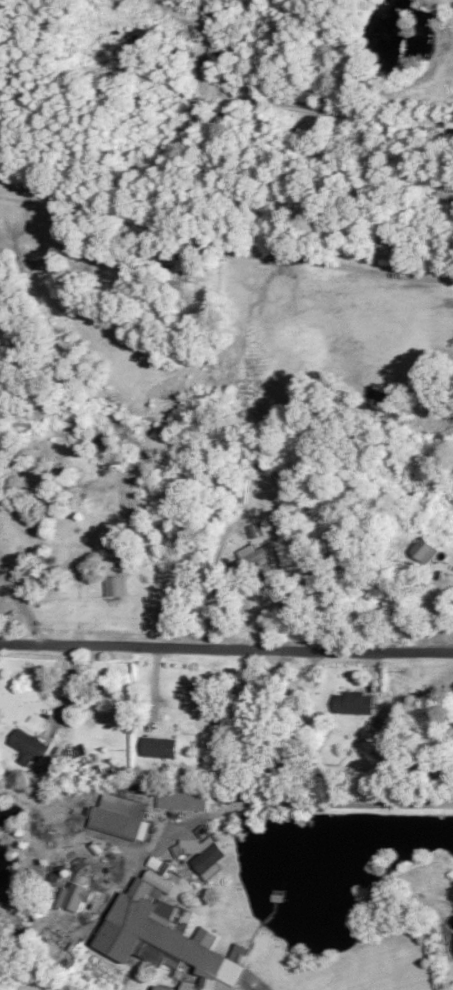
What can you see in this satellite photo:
road: (442, 279)
building: (425, 549)
building: (253, 553)
building: (115, 584)
road: (24, 603)
road: (226, 649)
road: (64, 694)
building: (354, 701)
building: (28, 745)
building: (159, 746)
building: (183, 797)
building: (120, 816)
building: (202, 853)
building: (77, 895)
building: (165, 935)
building: (239, 951)

